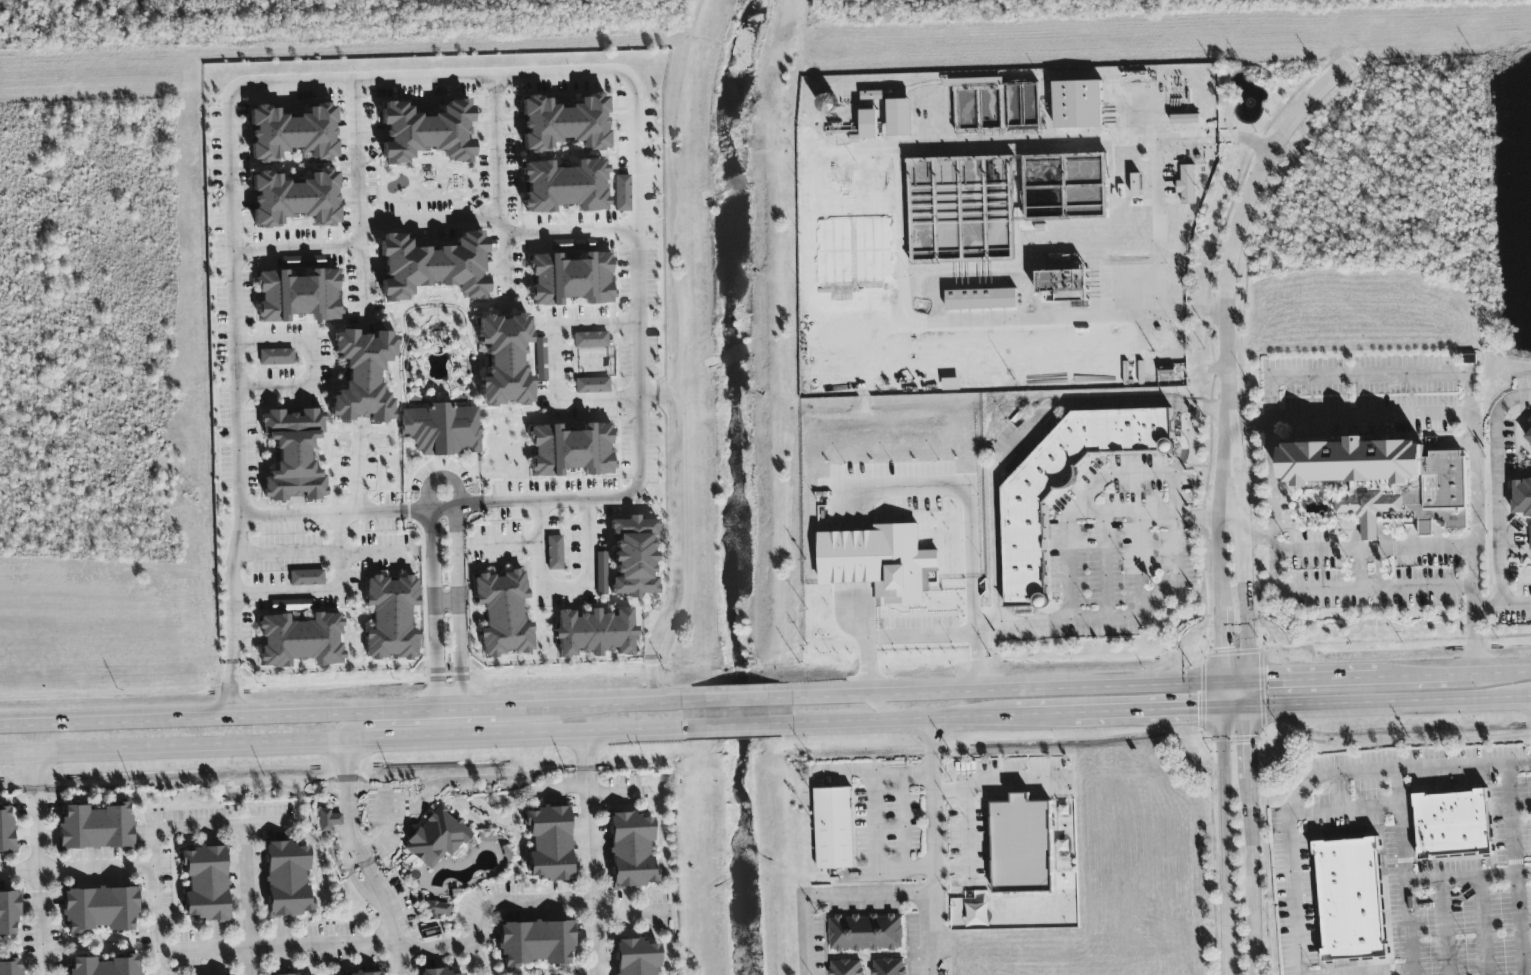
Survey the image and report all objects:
park: (468, 15)
road: (413, 80)
building: (871, 96)
building: (1078, 105)
building: (900, 118)
building: (1184, 120)
building: (564, 123)
building: (869, 125)
building: (426, 132)
building: (292, 133)
road: (497, 151)
road: (897, 172)
building: (564, 186)
building: (1187, 186)
building: (622, 193)
building: (294, 199)
road: (361, 207)
road: (499, 225)
road: (297, 249)
road: (1231, 252)
road: (1161, 253)
road: (504, 261)
building: (433, 266)
building: (570, 278)
building: (1065, 287)
building: (298, 295)
building: (980, 300)
road: (595, 325)
building: (590, 340)
building: (276, 357)
building: (541, 359)
building: (504, 360)
road: (311, 363)
road: (1316, 375)
building: (362, 376)
building: (592, 385)
building: (950, 385)
road: (560, 400)
road: (1347, 417)
building: (441, 429)
road: (1032, 433)
building: (571, 450)
building: (293, 454)
road: (357, 466)
building: (1522, 480)
building: (1384, 481)
road: (431, 482)
building: (1065, 487)
road: (1497, 489)
road: (1225, 498)
road: (334, 514)
road: (1126, 514)
road: (1201, 518)
road: (1176, 524)
road: (1369, 533)
building: (1528, 533)
road: (1257, 539)
road: (504, 543)
road: (540, 544)
road: (685, 549)
road: (1373, 550)
road: (378, 553)
building: (554, 553)
road: (286, 554)
road: (1216, 554)
building: (633, 557)
road: (1139, 560)
building: (878, 562)
road: (588, 567)
road: (1103, 567)
road: (1361, 569)
road: (1380, 569)
building: (601, 574)
building: (306, 578)
road: (324, 592)
road: (1381, 593)
road: (1244, 594)
road: (436, 604)
road: (456, 604)
road: (1502, 605)
building: (503, 614)
building: (391, 618)
building: (595, 633)
road: (930, 636)
building: (300, 640)
road: (1389, 640)
road: (866, 648)
traffic signals: (1223, 648)
road: (1223, 649)
road: (977, 657)
road: (1490, 671)
road: (1415, 674)
road: (1316, 676)
road: (1238, 677)
traffic signals: (1266, 677)
road: (1011, 688)
road: (1251, 691)
road: (738, 699)
road: (1449, 700)
road: (451, 703)
road: (633, 703)
road: (1309, 704)
road: (1237, 706)
road: (520, 708)
traffic signals: (1194, 708)
road: (1111, 711)
road: (226, 715)
road: (901, 721)
road: (399, 724)
road: (742, 725)
road: (567, 731)
road: (401, 740)
road: (1391, 743)
traffic signals: (1252, 744)
road: (1252, 745)
road: (174, 746)
road: (871, 772)
road: (1319, 776)
road: (569, 788)
road: (948, 790)
road: (965, 791)
road: (612, 794)
road: (352, 805)
road: (36, 811)
road: (1344, 812)
building: (328, 820)
road: (876, 823)
road: (904, 823)
road: (266, 824)
building: (1452, 825)
building: (95, 827)
building: (833, 829)
road: (1225, 829)
building: (6, 832)
road: (388, 835)
building: (437, 837)
road: (243, 839)
building: (548, 843)
building: (1021, 846)
road: (933, 848)
building: (630, 850)
road: (590, 852)
road: (154, 863)
road: (1523, 863)
road: (19, 869)
road: (1516, 870)
road: (1405, 873)
road: (888, 875)
road: (1468, 878)
building: (287, 879)
road: (1254, 881)
building: (205, 884)
road: (832, 896)
building: (1350, 900)
building: (99, 909)
building: (437, 909)
road: (626, 913)
building: (8, 914)
road: (394, 916)
building: (977, 916)
road: (41, 922)
road: (1484, 926)
road: (1445, 928)
building: (865, 934)
road: (392, 941)
building: (534, 943)
building: (637, 957)
road: (1227, 963)
building: (104, 966)
building: (11, 967)
building: (888, 967)
building: (846, 968)
building: (442, 972)
road: (1379, 972)
road: (1392, 973)
building: (365, 974)

